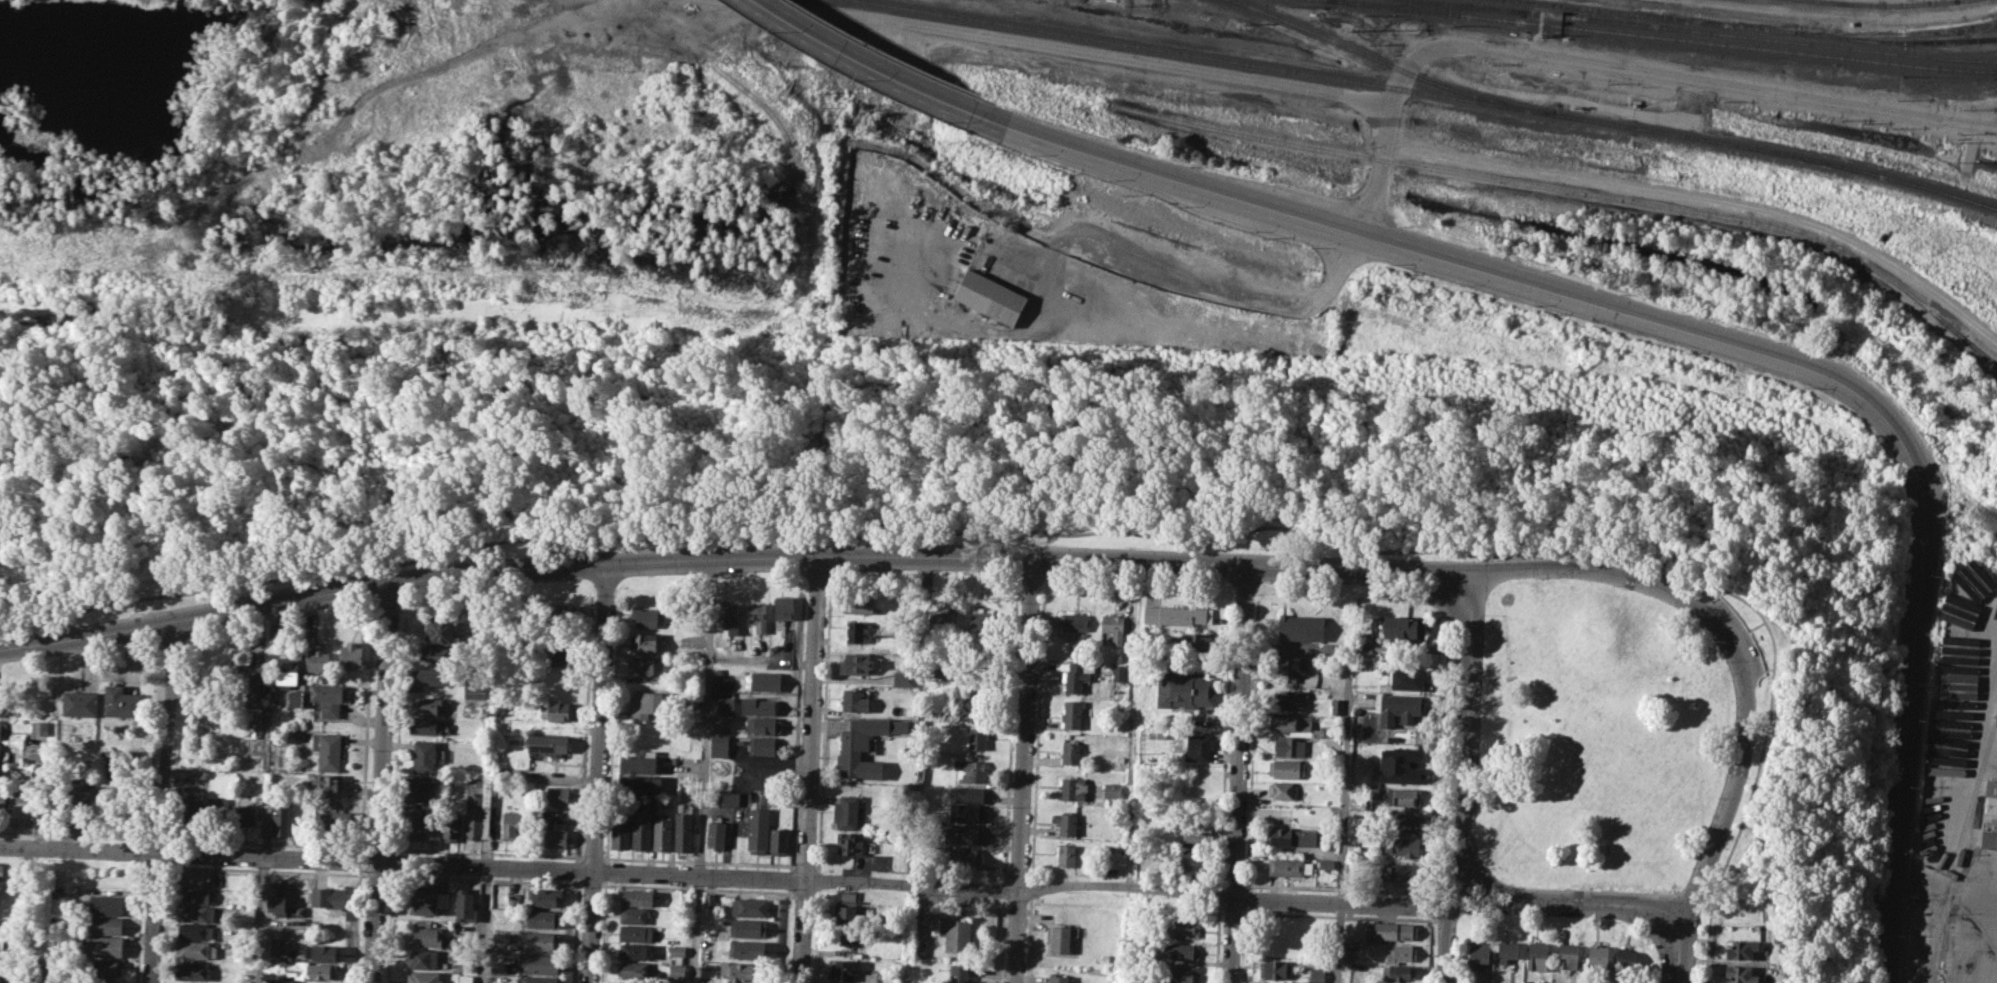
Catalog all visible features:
railway: (1877, 4)
railway: (1426, 5)
railway: (1649, 15)
railway: (1663, 21)
railway: (1710, 31)
railway: (1892, 34)
railway: (1662, 36)
railway: (1982, 37)
railway: (1892, 42)
railway: (1210, 57)
road: (868, 59)
railway: (1392, 63)
railway: (1372, 92)
road: (1393, 111)
railway: (1779, 151)
road: (1118, 161)
railway: (1569, 190)
road: (1707, 202)
building: (990, 296)
railway: (1981, 354)
road: (1848, 389)
park: (921, 489)
railway: (1979, 508)
road: (1077, 533)
road: (728, 556)
road: (1581, 567)
building: (1978, 576)
building: (858, 604)
building: (784, 608)
building: (563, 615)
building: (758, 615)
building: (1179, 615)
building: (645, 616)
building: (728, 617)
building: (943, 618)
building: (982, 618)
building: (1076, 625)
road: (1757, 625)
building: (1114, 627)
building: (1300, 627)
building: (1404, 628)
building: (440, 631)
building: (855, 631)
building: (643, 641)
building: (1195, 642)
building: (438, 654)
building: (350, 655)
building: (558, 655)
building: (319, 660)
building: (859, 663)
building: (1323, 663)
building: (646, 664)
building: (1289, 665)
building: (1957, 665)
building: (945, 668)
road: (1769, 668)
building: (287, 671)
building: (1118, 672)
building: (433, 676)
building: (249, 677)
building: (1075, 677)
building: (903, 678)
building: (1407, 678)
building: (766, 681)
building: (1957, 685)
building: (1185, 688)
building: (475, 690)
building: (329, 697)
building: (1289, 698)
building: (2, 699)
building: (296, 699)
building: (855, 700)
building: (690, 701)
building: (121, 702)
building: (4, 703)
building: (80, 703)
building: (645, 703)
building: (427, 704)
building: (725, 704)
building: (974, 705)
building: (1337, 705)
building: (760, 706)
building: (1402, 708)
building: (556, 710)
building: (1073, 712)
road: (1132, 722)
building: (1289, 722)
building: (425, 726)
building: (765, 726)
building: (39, 727)
road: (585, 727)
road: (612, 728)
road: (823, 728)
building: (3, 729)
road: (796, 729)
road: (1465, 730)
building: (1163, 733)
road: (397, 734)
road: (365, 736)
park: (1597, 736)
building: (978, 738)
road: (1251, 742)
building: (549, 744)
road: (1223, 744)
building: (719, 745)
building: (764, 745)
building: (1289, 746)
building: (1197, 747)
building: (861, 748)
building: (1407, 749)
building: (327, 750)
building: (1070, 753)
building: (424, 756)
building: (1, 757)
building: (640, 763)
road: (1739, 763)
building: (117, 767)
building: (1285, 768)
road: (809, 769)
road: (1023, 769)
road: (704, 770)
building: (971, 770)
building: (198, 772)
road: (597, 772)
building: (0, 773)
building: (499, 773)
road: (1238, 773)
road: (379, 782)
building: (327, 783)
building: (637, 784)
building: (1071, 789)
building: (1109, 789)
building: (415, 790)
building: (1281, 790)
building: (78, 792)
building: (23, 793)
building: (967, 793)
building: (558, 795)
building: (1404, 797)
building: (729, 798)
building: (3, 799)
road: (160, 801)
building: (846, 811)
building: (966, 812)
building: (192, 813)
building: (218, 814)
building: (246, 815)
building: (473, 815)
building: (282, 816)
building: (541, 816)
building: (1990, 816)
building: (410, 819)
building: (334, 821)
building: (1404, 821)
building: (1066, 823)
building: (433, 824)
building: (511, 824)
building: (1354, 824)
road: (265, 827)
road: (1342, 827)
building: (451, 828)
building: (641, 829)
building: (757, 829)
building: (620, 830)
building: (662, 830)
building: (683, 831)
building: (716, 832)
building: (963, 834)
building: (556, 835)
building: (1194, 835)
road: (1437, 835)
building: (1292, 836)
building: (779, 840)
building: (850, 842)
building: (1403, 846)
road: (376, 847)
road: (359, 849)
road: (484, 851)
building: (965, 855)
building: (1066, 855)
road: (592, 856)
road: (359, 860)
road: (697, 860)
building: (1192, 860)
road: (391, 861)
road: (38, 862)
building: (1325, 863)
road: (155, 865)
road: (802, 865)
road: (815, 866)
building: (1289, 866)
road: (579, 868)
road: (264, 869)
building: (1, 870)
road: (607, 870)
building: (1401, 872)
road: (375, 874)
road: (744, 876)
building: (198, 877)
road: (789, 877)
road: (483, 878)
road: (818, 879)
road: (592, 883)
road: (1231, 884)
road: (1218, 886)
road: (695, 887)
building: (58, 892)
road: (1982, 893)
building: (196, 895)
building: (277, 895)
building: (638, 896)
building: (328, 897)
building: (535, 897)
building: (709, 898)
road: (1218, 898)
building: (429, 901)
road: (1575, 901)
building: (465, 902)
building: (104, 903)
building: (847, 906)
building: (750, 907)
building: (300, 910)
building: (199, 913)
building: (246, 914)
building: (635, 914)
road: (260, 919)
building: (545, 919)
road: (138, 921)
building: (106, 924)
road: (485, 924)
road: (356, 926)
road: (388, 926)
building: (749, 927)
building: (1184, 928)
building: (1392, 929)
road: (576, 930)
building: (195, 931)
road: (604, 931)
building: (637, 932)
building: (955, 933)
road: (786, 935)
road: (815, 935)
building: (426, 936)
building: (501, 936)
building: (1058, 937)
building: (846, 938)
building: (543, 940)
building: (2, 942)
road: (1446, 944)
building: (101, 945)
road: (1216, 945)
building: (279, 946)
building: (749, 948)
building: (920, 948)
building: (196, 949)
building: (1742, 949)
building: (678, 950)
building: (1506, 950)
building: (636, 951)
building: (1182, 951)
road: (1678, 951)
building: (321, 952)
building: (705, 952)
building: (1402, 952)
building: (1478, 953)
building: (1347, 954)
building: (1538, 955)
building: (1568, 956)
building: (1599, 956)
building: (423, 958)
building: (1624, 960)
building: (541, 963)
building: (279, 965)
building: (462, 966)
building: (500, 966)
building: (1276, 968)
building: (105, 969)
building: (843, 969)
building: (194, 970)
building: (319, 970)
building: (634, 970)
building: (677, 971)
building: (742, 972)
building: (1398, 972)
building: (708, 973)
building: (0, 974)
building: (959, 974)
building: (1179, 974)
building: (1318, 974)
building: (1741, 974)
building: (424, 977)
building: (466, 978)
building: (1052, 978)
building: (539, 979)
building: (274, 981)

